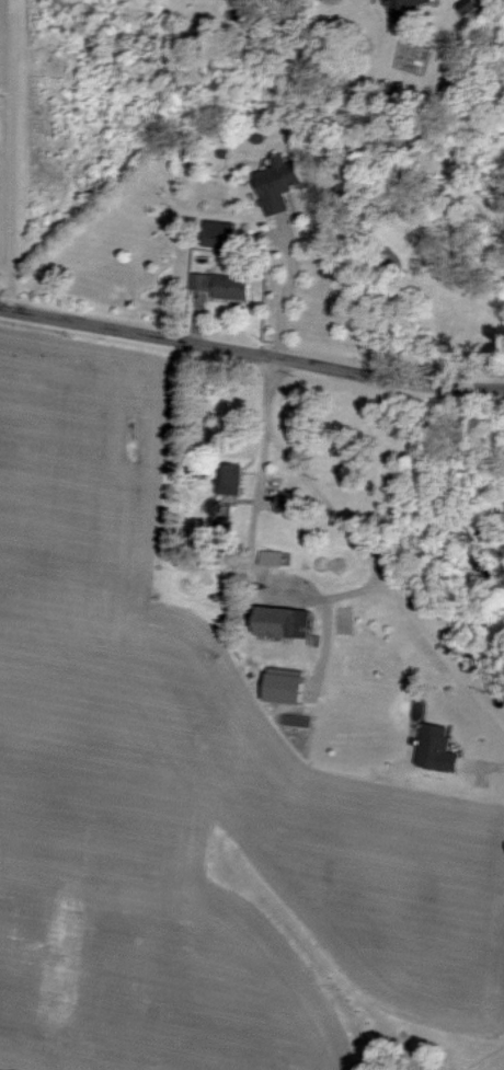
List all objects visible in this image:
building: (403, 10)
road: (9, 154)
building: (278, 181)
building: (216, 239)
building: (221, 285)
road: (251, 355)
building: (229, 479)
road: (320, 488)
road: (262, 554)
building: (270, 557)
building: (283, 621)
building: (283, 686)
building: (435, 748)
road: (490, 1061)

